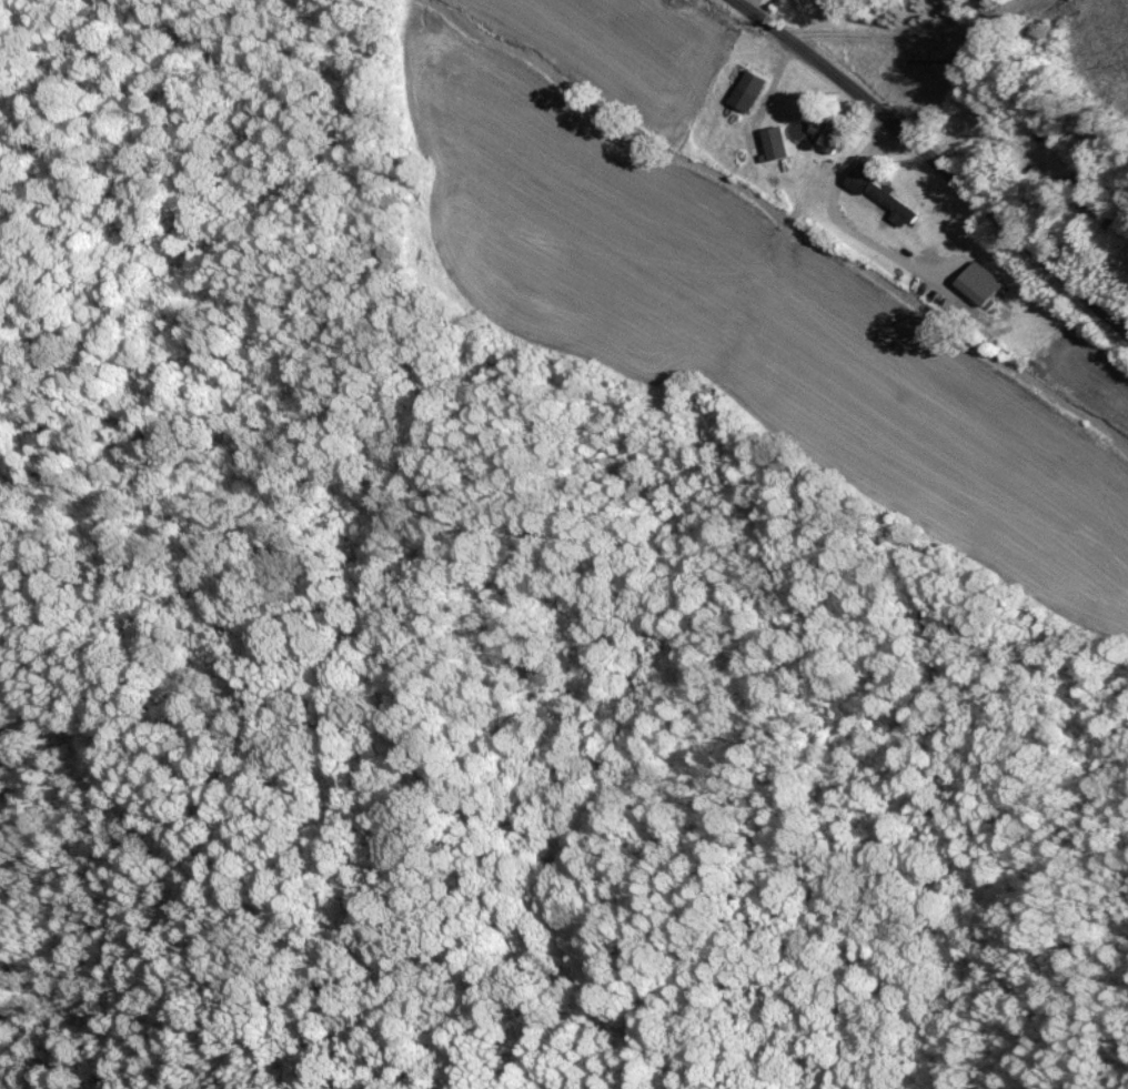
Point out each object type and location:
building: (753, 90)
building: (832, 131)
building: (779, 143)
road: (935, 161)
building: (888, 196)
building: (981, 283)

